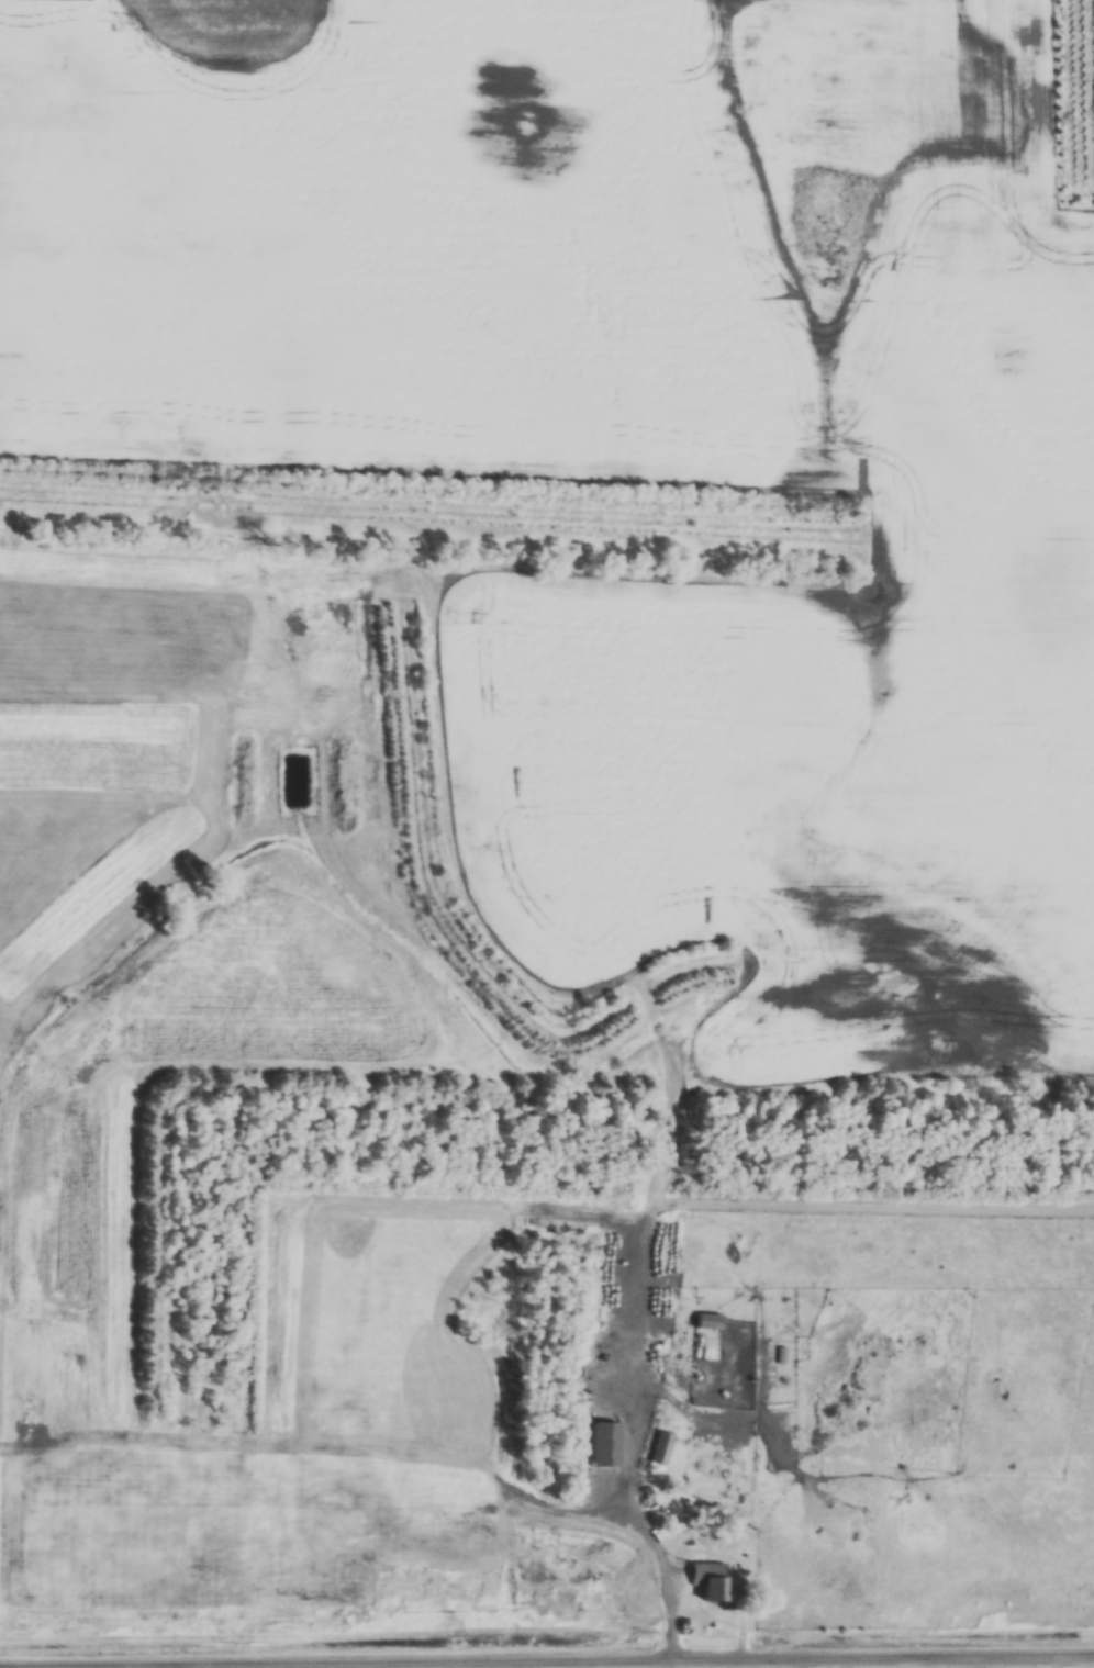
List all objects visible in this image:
building: (708, 1320)
building: (603, 1443)
building: (660, 1447)
road: (645, 1527)
building: (708, 1580)
road: (546, 1654)

